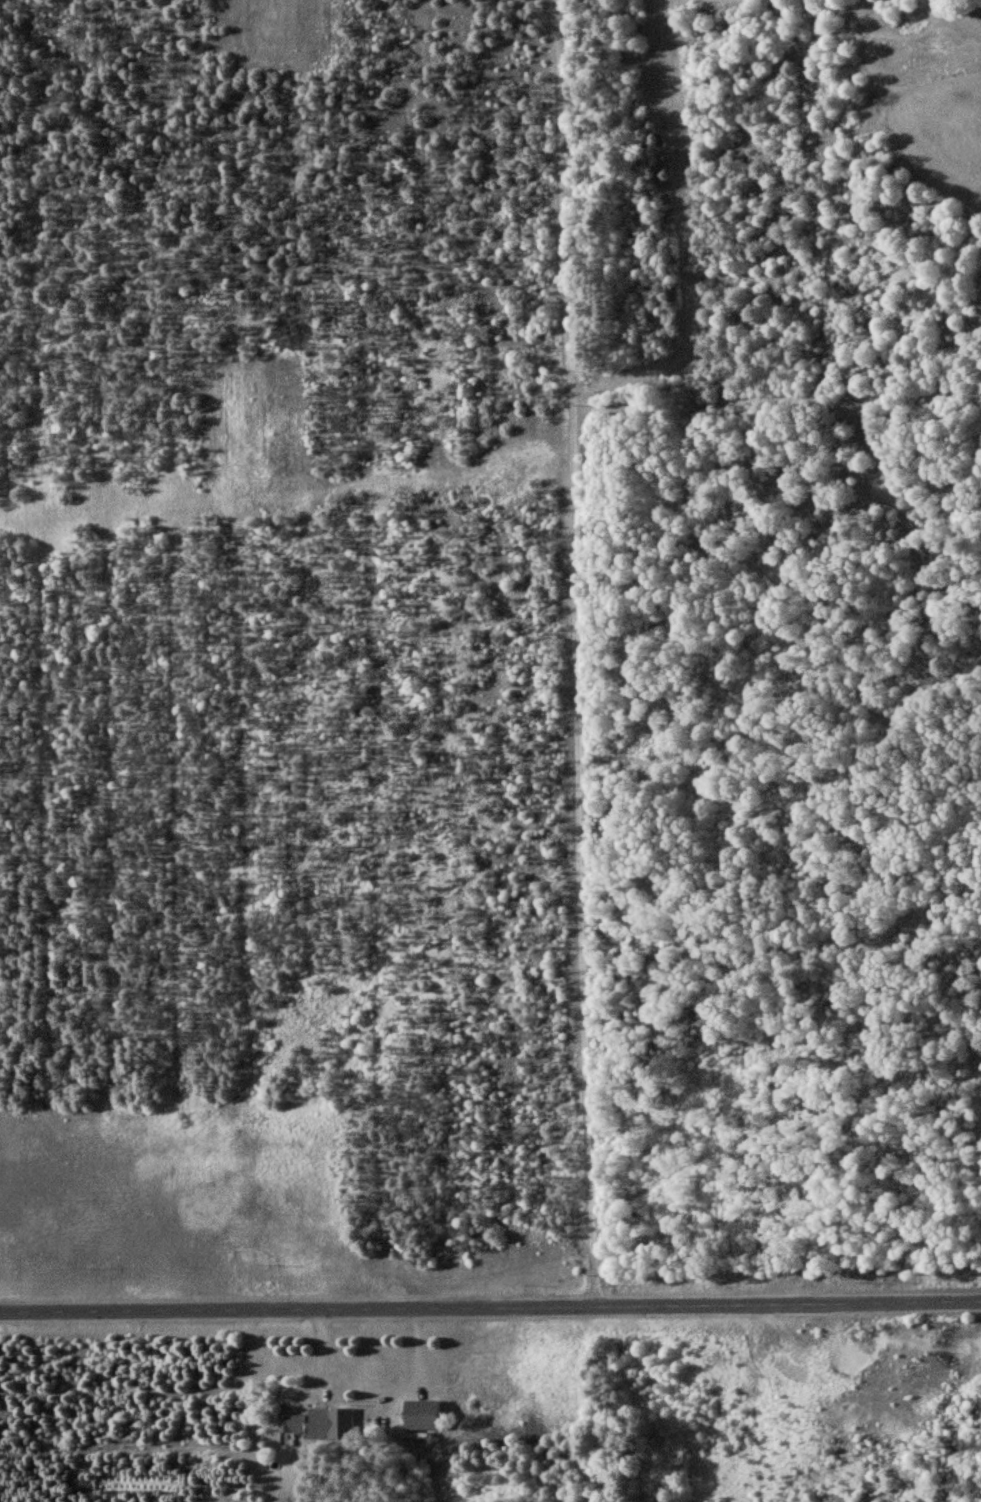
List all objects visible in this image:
road: (490, 1308)
building: (420, 1414)
building: (318, 1423)

